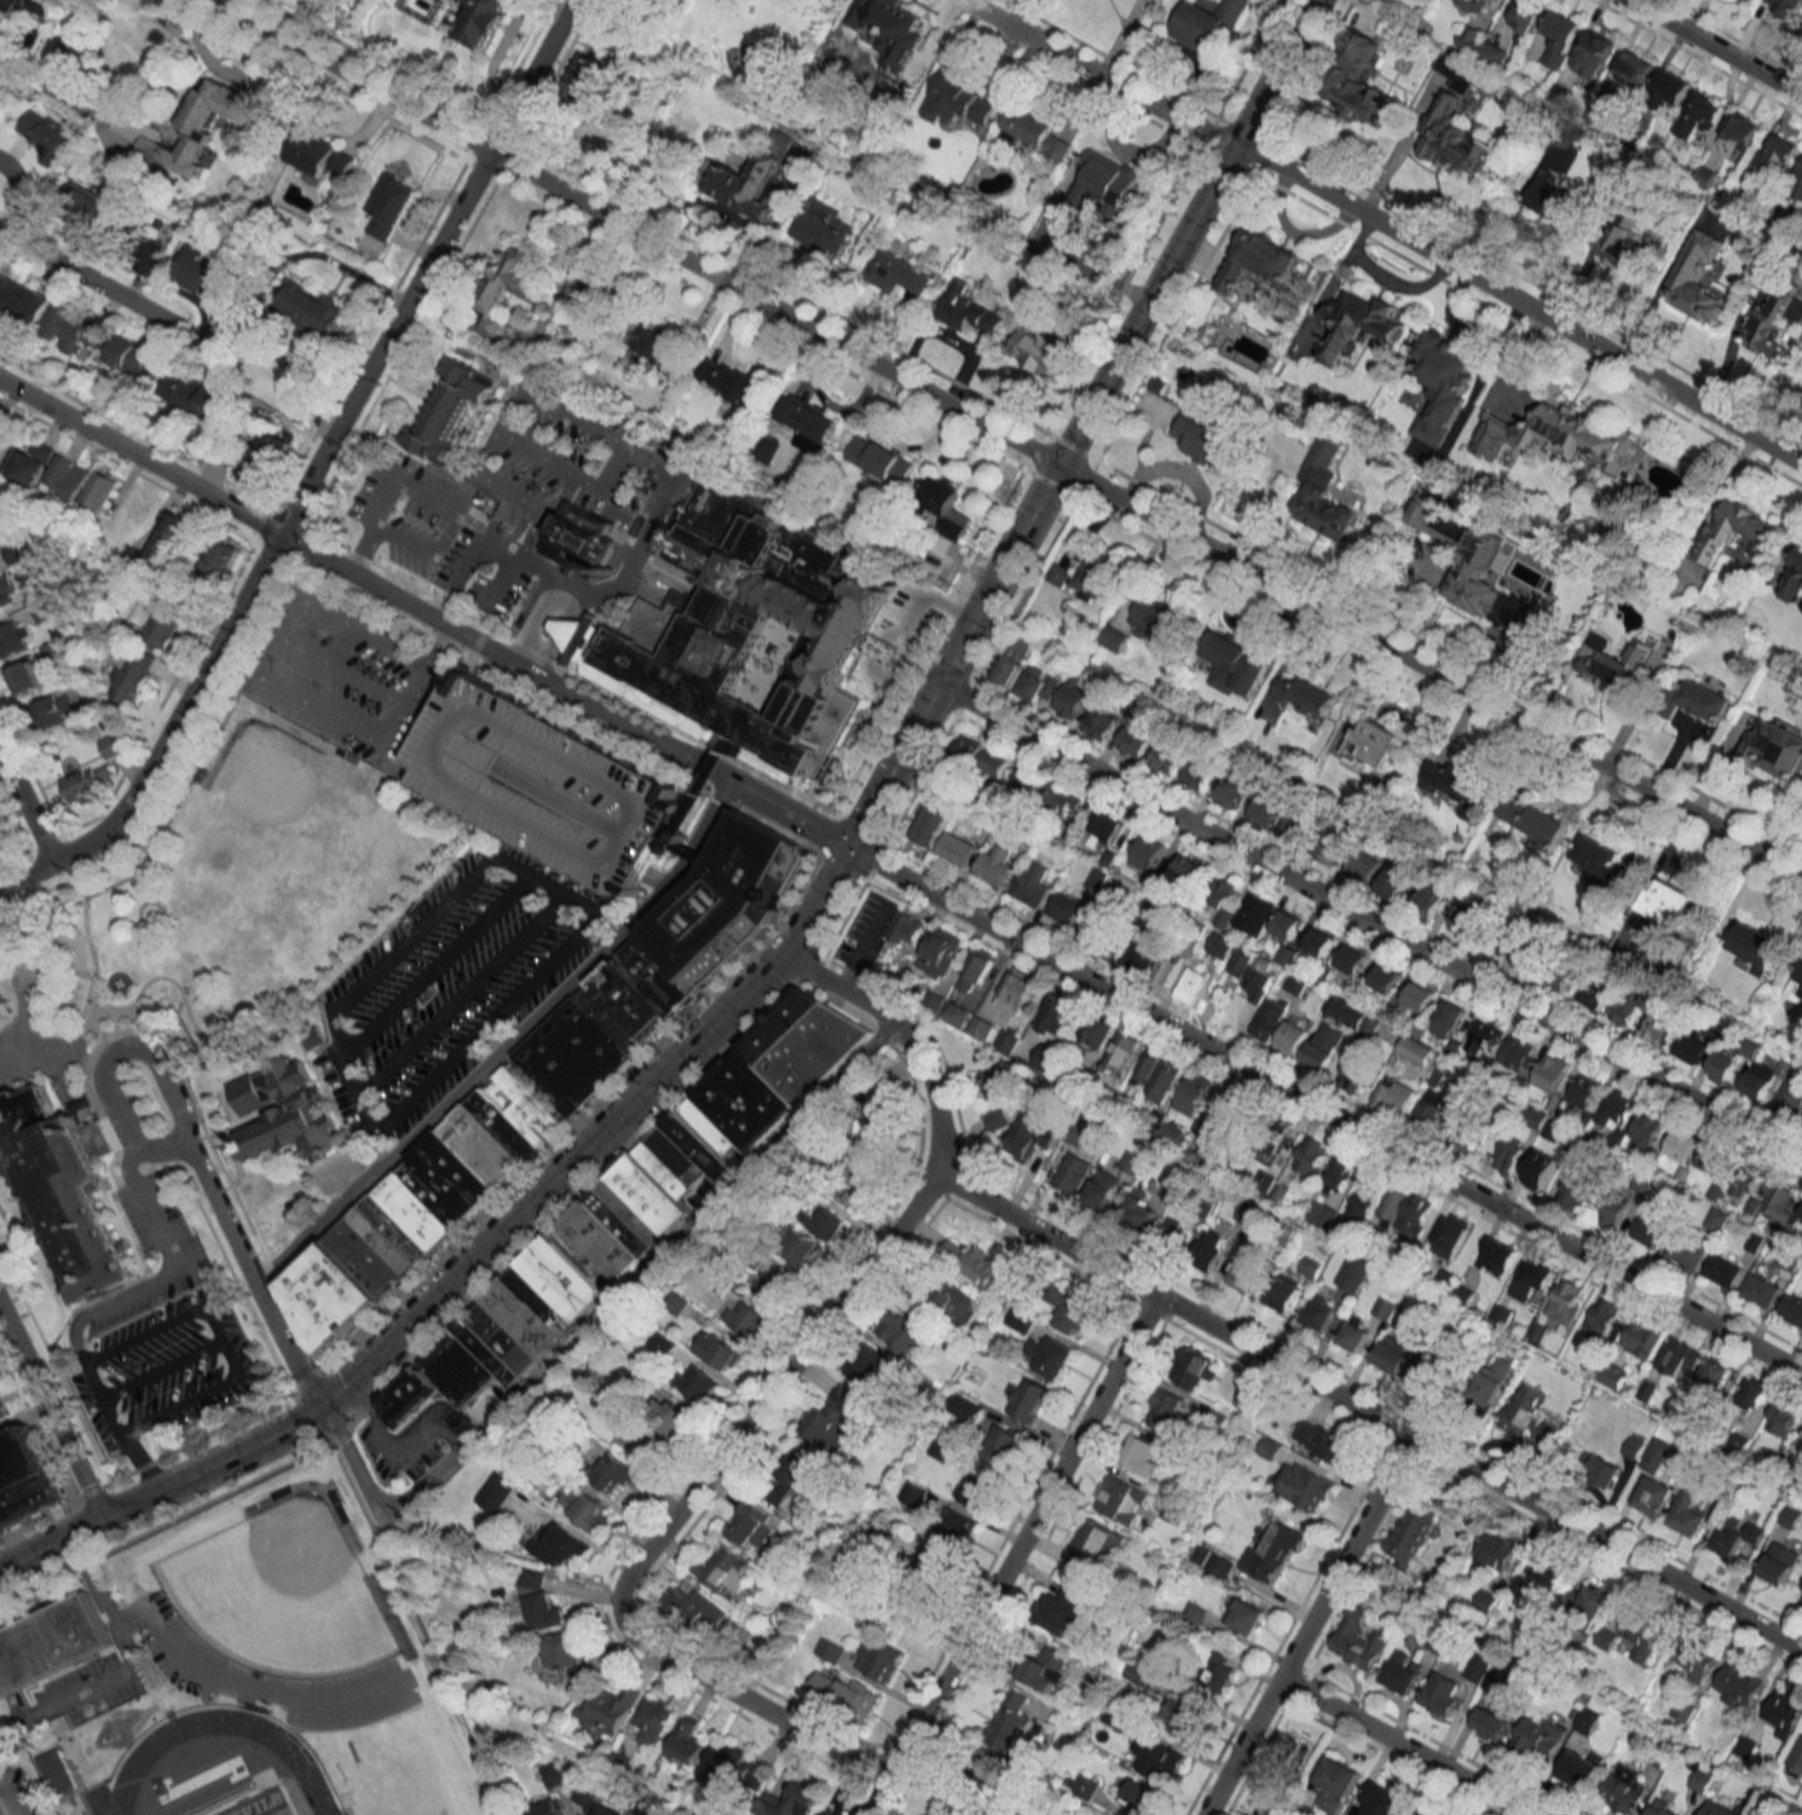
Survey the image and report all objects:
building: (1751, 0)
building: (1480, 4)
building: (1786, 8)
building: (45, 10)
building: (1525, 15)
building: (481, 21)
building: (1208, 22)
building: (1469, 37)
building: (1559, 37)
road: (1714, 50)
building: (1491, 53)
building: (1593, 53)
building: (1633, 65)
building: (75, 67)
road: (1275, 73)
building: (1359, 80)
building: (1670, 87)
building: (959, 98)
building: (4, 102)
building: (1699, 114)
building: (1454, 123)
building: (198, 127)
building: (41, 128)
building: (1034, 131)
building: (1742, 133)
road: (1396, 149)
building: (319, 156)
building: (1775, 156)
building: (1703, 175)
building: (1797, 181)
building: (1553, 184)
building: (751, 185)
building: (1091, 185)
building: (83, 202)
road: (1202, 203)
building: (388, 206)
building: (825, 227)
road: (1386, 227)
building: (1623, 242)
building: (141, 252)
building: (1258, 260)
building: (901, 272)
building: (203, 273)
road: (88, 278)
building: (1698, 278)
road: (564, 285)
building: (507, 287)
building: (22, 300)
building: (314, 308)
building: (970, 310)
building: (1357, 323)
building: (1768, 326)
building: (74, 329)
building: (660, 342)
building: (1036, 349)
building: (137, 359)
road: (1114, 363)
building: (732, 381)
building: (1440, 382)
building: (201, 397)
road: (548, 404)
building: (449, 411)
building: (808, 418)
road: (138, 429)
building: (1547, 434)
building: (1197, 437)
road: (1007, 438)
building: (4, 450)
road: (485, 450)
building: (1324, 450)
building: (268, 457)
building: (880, 461)
building: (29, 464)
road: (312, 468)
building: (67, 478)
building: (98, 491)
road: (526, 497)
building: (945, 507)
building: (1327, 511)
road: (288, 513)
road: (478, 516)
road: (518, 524)
road: (533, 524)
building: (1734, 530)
road: (404, 532)
building: (578, 538)
building: (169, 539)
road: (296, 539)
road: (358, 543)
road: (370, 549)
building: (1462, 554)
building: (224, 556)
road: (630, 559)
road: (334, 563)
chimney: (607, 568)
building: (1058, 574)
road: (502, 577)
building: (1093, 579)
building: (1792, 580)
road: (1020, 589)
building: (7, 590)
road: (449, 590)
road: (565, 593)
road: (562, 608)
road: (914, 608)
building: (44, 611)
building: (163, 617)
building: (1157, 619)
road: (530, 623)
road: (273, 626)
road: (559, 628)
road: (359, 630)
building: (738, 631)
building: (13, 638)
building: (1114, 638)
road: (924, 640)
building: (1020, 645)
road: (431, 646)
road: (444, 652)
road: (542, 657)
building: (1236, 664)
building: (1617, 666)
road: (339, 667)
road: (564, 667)
building: (1007, 670)
building: (28, 676)
building: (132, 680)
building: (1036, 684)
road: (960, 693)
building: (1304, 695)
building: (1073, 698)
building: (1704, 700)
road: (320, 703)
road: (405, 705)
building: (53, 711)
building: (1101, 723)
road: (194, 724)
building: (1133, 740)
building: (1375, 742)
building: (1774, 747)
building: (966, 751)
building: (1166, 757)
building: (993, 762)
road: (699, 765)
building: (92, 774)
road: (917, 774)
building: (1197, 775)
building: (1026, 782)
building: (544, 784)
parking lot: (544, 784)
building: (1455, 784)
building: (1232, 790)
road: (25, 800)
building: (1063, 800)
building: (1264, 811)
road: (787, 814)
building: (930, 819)
building: (1534, 819)
road: (707, 823)
building: (1107, 825)
building: (1295, 825)
road: (855, 827)
road: (820, 832)
building: (1, 848)
building: (955, 848)
building: (1334, 851)
building: (1147, 852)
road: (872, 856)
building: (1600, 862)
road: (837, 863)
building: (995, 865)
building: (1363, 867)
building: (1188, 869)
park: (311, 874)
road: (544, 879)
building: (1397, 880)
park: (252, 885)
building: (1028, 889)
building: (1223, 892)
building: (1428, 898)
building: (726, 900)
building: (1669, 902)
building: (1064, 908)
road: (844, 912)
building: (1255, 913)
road: (1369, 921)
building: (1463, 923)
building: (1288, 924)
road: (414, 929)
building: (906, 929)
building: (1091, 931)
building: (1495, 935)
building: (1114, 943)
building: (1321, 943)
building: (1220, 944)
building: (1755, 946)
building: (941, 954)
building: (1144, 955)
building: (1529, 956)
building: (1353, 959)
road: (91, 964)
road: (808, 965)
building: (1167, 969)
building: (976, 970)
building: (1252, 972)
building: (1560, 973)
building: (1194, 977)
building: (1798, 977)
building: (1386, 978)
building: (1295, 984)
building: (1017, 990)
building: (1594, 995)
building: (1419, 999)
building: (1800, 999)
building: (946, 1007)
building: (1345, 1011)
building: (1057, 1013)
building: (1451, 1016)
building: (1269, 1019)
road: (478, 1023)
building: (982, 1027)
building: (1661, 1028)
road: (897, 1030)
building: (1097, 1030)
building: (1486, 1036)
building: (1292, 1037)
building: (1323, 1047)
building: (582, 1048)
building: (1692, 1048)
building: (1415, 1050)
building: (1121, 1053)
building: (1519, 1054)
building: (1725, 1065)
building: (1552, 1073)
building: (1159, 1074)
road: (475, 1077)
building: (1355, 1079)
building: (1760, 1080)
building: (997, 1081)
road: (351, 1085)
road: (536, 1088)
building: (1584, 1092)
building: (1194, 1093)
road: (173, 1094)
building: (1396, 1094)
building: (1790, 1098)
road: (115, 1103)
building: (278, 1108)
road: (1325, 1108)
building: (1432, 1108)
building: (1617, 1109)
road: (624, 1111)
road: (577, 1116)
building: (1534, 1116)
building: (997, 1119)
building: (873, 1121)
road: (198, 1122)
building: (1553, 1127)
building: (1648, 1128)
building: (1033, 1133)
building: (1076, 1133)
building: (1174, 1133)
building: (1465, 1135)
building: (1273, 1137)
building: (1682, 1144)
building: (1511, 1154)
building: (1313, 1156)
building: (1715, 1160)
building: (1340, 1170)
building: (1541, 1170)
building: (1072, 1172)
building: (1746, 1180)
building: (62, 1183)
building: (859, 1186)
building: (1101, 1189)
building: (1579, 1190)
road: (568, 1200)
building: (1784, 1203)
building: (1392, 1206)
road: (116, 1207)
road: (146, 1207)
building: (633, 1207)
building: (1361, 1208)
building: (1138, 1209)
building: (1612, 1210)
building: (417, 1212)
building: (1415, 1214)
building: (1325, 1215)
building: (1716, 1219)
building: (1801, 1219)
building: (822, 1221)
building: (1648, 1231)
building: (1174, 1233)
building: (1451, 1237)
building: (798, 1249)
building: (1209, 1249)
building: (1686, 1252)
building: (1497, 1256)
building: (971, 1260)
building: (1725, 1268)
building: (1246, 1272)
road: (253, 1276)
building: (1532, 1278)
building: (1350, 1279)
building: (1446, 1279)
building: (769, 1285)
building: (1760, 1290)
building: (1283, 1295)
building: (949, 1297)
building: (1566, 1300)
road: (100, 1304)
road: (599, 1307)
building: (1791, 1308)
building: (1069, 1310)
building: (1319, 1313)
building: (1602, 1318)
building: (746, 1319)
building: (1018, 1319)
building: (902, 1329)
building: (1537, 1331)
building: (1355, 1333)
building: (1645, 1337)
building: (662, 1343)
building: (718, 1351)
building: (1394, 1352)
building: (183, 1356)
building: (1050, 1357)
building: (1680, 1357)
building: (1432, 1363)
building: (867, 1364)
building: (1192, 1368)
building: (1717, 1372)
building: (1613, 1375)
building: (1491, 1381)
building: (695, 1382)
road: (334, 1389)
building: (1751, 1392)
building: (1252, 1398)
building: (186, 1399)
building: (1026, 1399)
building: (966, 1408)
building: (1163, 1409)
road: (1365, 1411)
building: (1, 1412)
road: (22, 1412)
road: (50, 1414)
road: (346, 1414)
building: (833, 1416)
building: (1527, 1416)
building: (671, 1417)
building: (1783, 1418)
building: (462, 1421)
road: (117, 1426)
road: (336, 1430)
building: (1322, 1440)
road: (392, 1444)
building: (1003, 1444)
building: (640, 1445)
building: (1633, 1446)
building: (940, 1449)
building: (1269, 1449)
building: (1140, 1455)
building: (1798, 1455)
building: (1651, 1461)
building: (1602, 1470)
building: (617, 1474)
building: (789, 1476)
building: (25, 1480)
building: (1305, 1486)
building: (980, 1491)
building: (496, 1492)
building: (912, 1492)
building: (1121, 1493)
building: (1653, 1495)
building: (584, 1509)
building: (1174, 1513)
building: (1688, 1513)
building: (1790, 1516)
building: (750, 1525)
building: (955, 1532)
building: (1737, 1534)
building: (1409, 1536)
building: (1088, 1545)
building: (560, 1547)
building: (1496, 1551)
building: (1271, 1554)
road: (498, 1559)
building: (1212, 1560)
building: (1779, 1561)
building: (724, 1568)
building: (1547, 1572)
park: (278, 1591)
building: (1800, 1594)
building: (1593, 1600)
building: (1486, 1601)
building: (541, 1602)
building: (695, 1609)
building: (1062, 1609)
building: (1195, 1612)
building: (1246, 1615)
road: (422, 1625)
road: (1307, 1625)
building: (1639, 1632)
building: (46, 1637)
building: (1357, 1638)
building: (830, 1649)
building: (560, 1652)
building: (1694, 1658)
building: (878, 1659)
road: (122, 1663)
building: (1044, 1667)
building: (1477, 1667)
building: (1219, 1670)
building: (1402, 1671)
building: (1738, 1686)
building: (843, 1690)
building: (1443, 1694)
road: (735, 1695)
building: (1496, 1707)
building: (610, 1710)
building: (1784, 1713)
building: (1183, 1716)
building: (655, 1721)
building: (1588, 1721)
building: (1013, 1724)
building: (1538, 1738)
building: (687, 1742)
road: (1402, 1747)
building: (1290, 1755)
track: (135, 1758)
building: (1157, 1758)
building: (253, 1763)
building: (726, 1763)
building: (1797, 1763)
road: (1013, 1765)
building: (1579, 1769)
building: (57, 1771)
building: (553, 1774)
building: (1338, 1776)
building: (975, 1784)
building: (1086, 1786)
building: (1624, 1787)
building: (585, 1793)
building: (1140, 1797)
building: (792, 1800)
building: (1382, 1800)
park: (254, 1802)
road: (2, 1807)
building: (1721, 1808)
building: (547, 1809)
building: (1665, 1809)
building: (607, 1810)
building: (1428, 1813)
building: (945, 1814)

